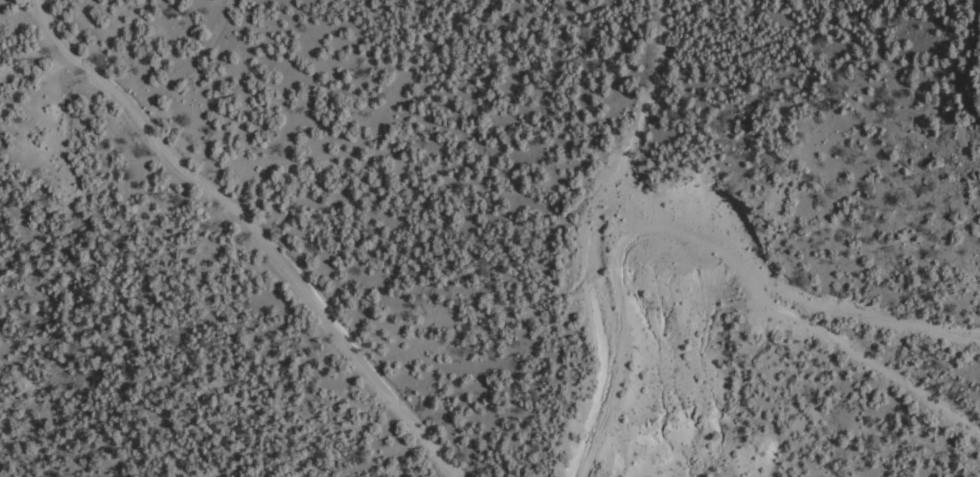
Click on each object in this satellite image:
road: (452, 428)

